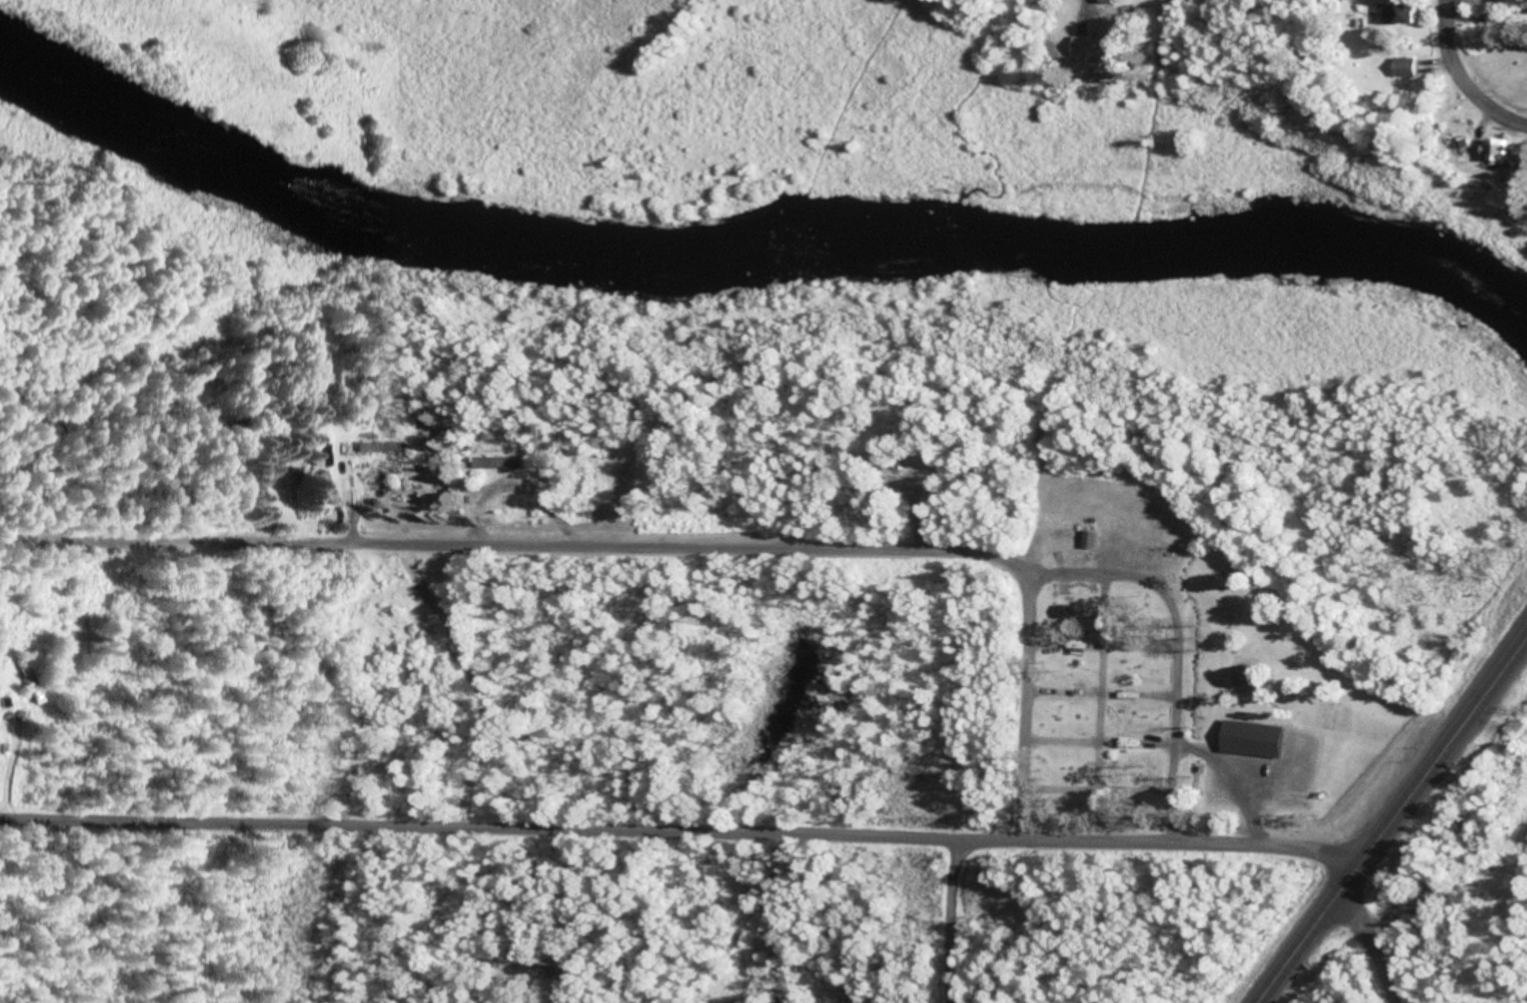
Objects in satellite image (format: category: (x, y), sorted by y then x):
road: (1177, 4)
building: (1407, 11)
building: (1098, 44)
road: (1454, 63)
building: (1408, 64)
road: (1511, 116)
building: (1502, 147)
river: (754, 242)
building: (386, 445)
building: (327, 452)
building: (500, 459)
building: (1094, 536)
road: (736, 543)
building: (1170, 548)
road: (1019, 620)
building: (30, 679)
building: (1259, 736)
road: (474, 819)
road: (1391, 821)
road: (1155, 836)
road: (947, 918)
road: (1381, 932)

